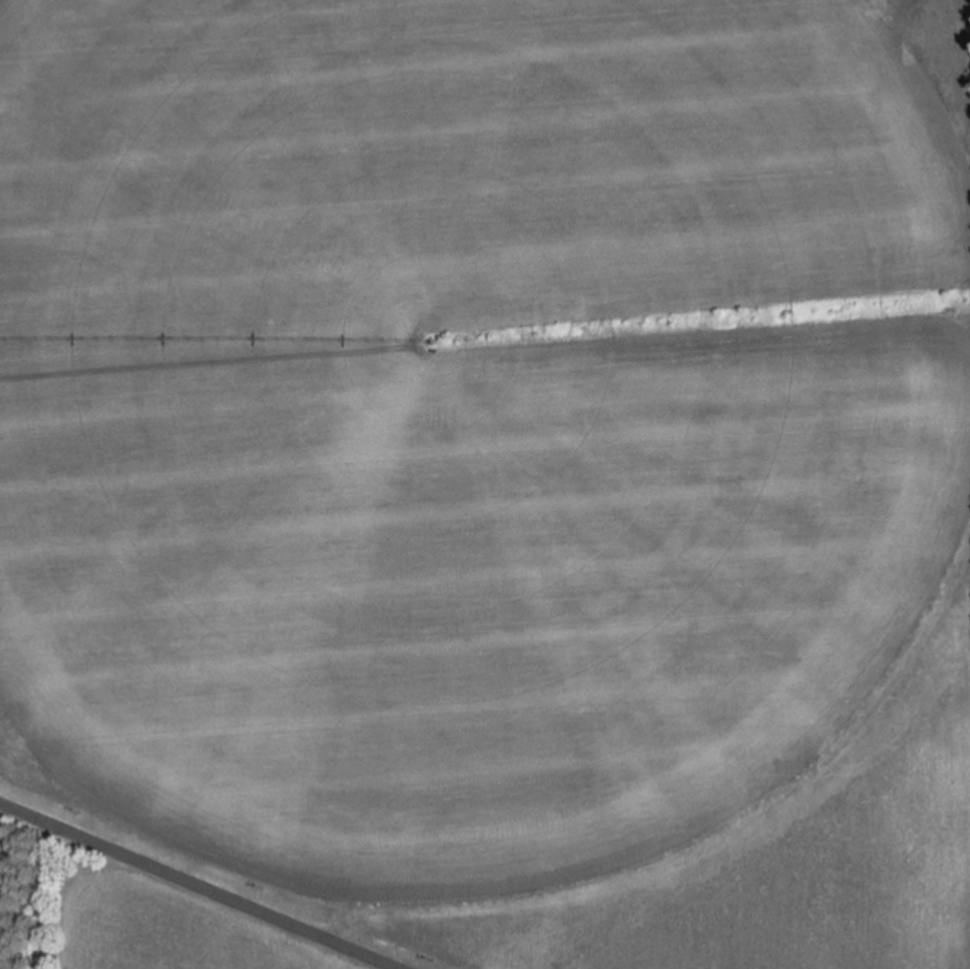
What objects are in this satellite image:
road: (192, 889)

